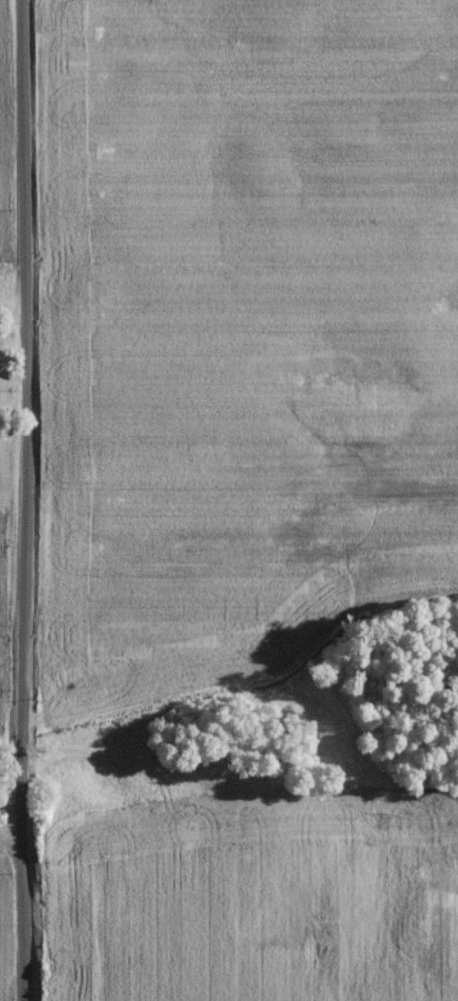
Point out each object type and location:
road: (30, 500)
road: (13, 836)

